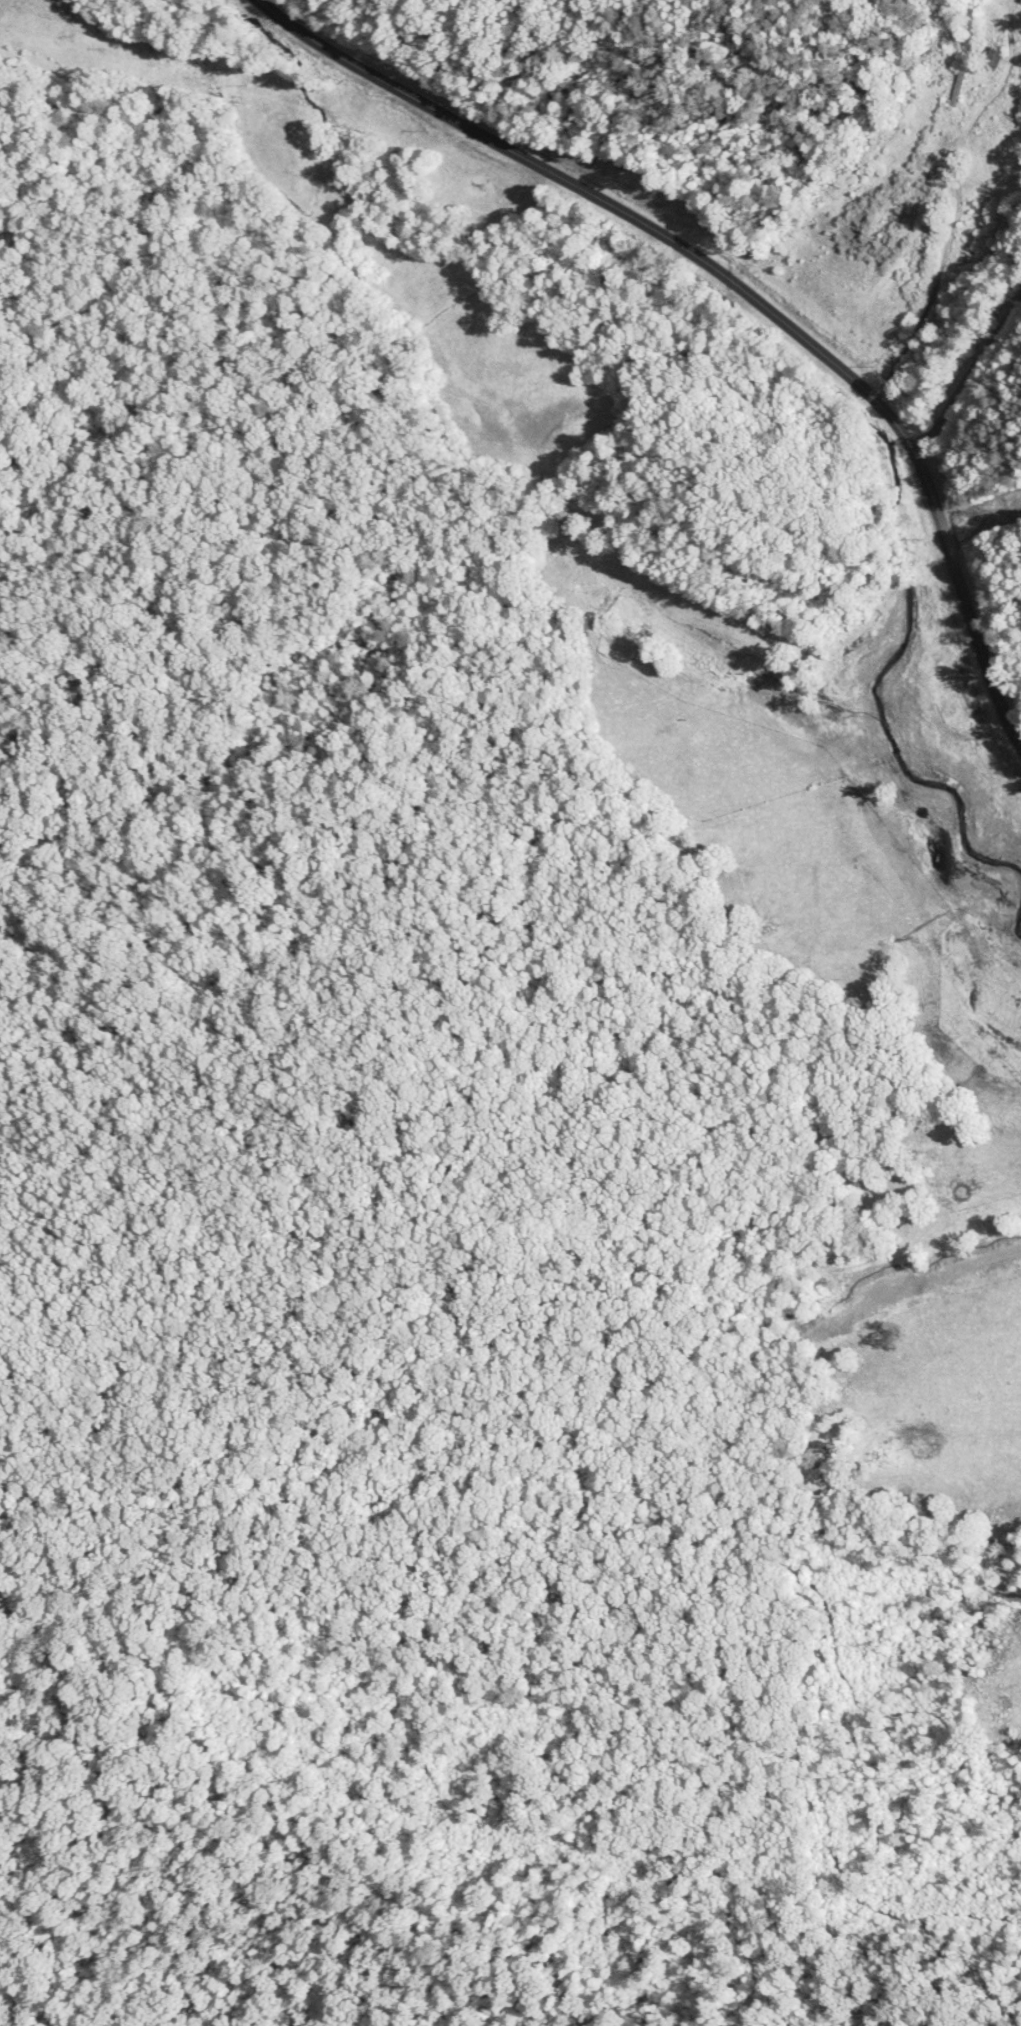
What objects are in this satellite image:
building: (984, 57)
building: (954, 88)
road: (735, 287)
road: (969, 374)

